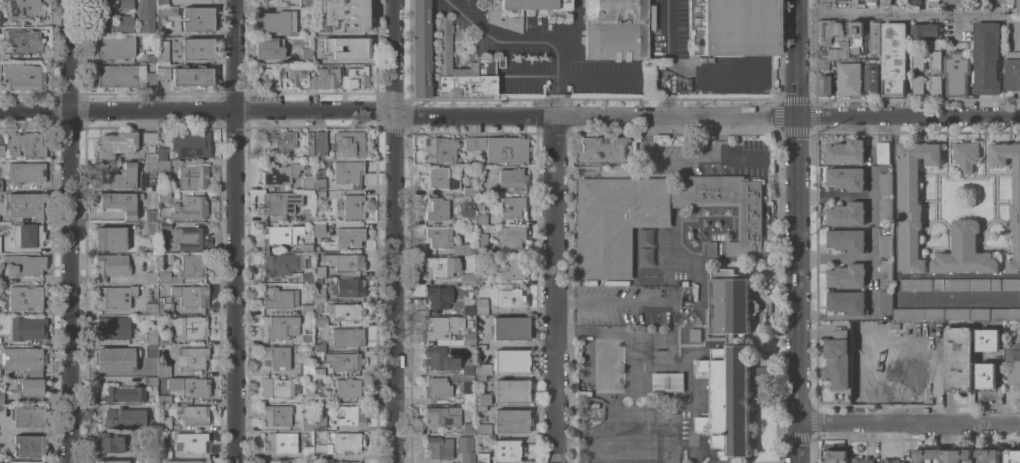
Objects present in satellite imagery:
building: (260, 0)
road: (439, 0)
building: (825, 0)
building: (843, 0)
building: (162, 1)
building: (904, 1)
building: (916, 1)
building: (957, 1)
building: (998, 1)
building: (185, 2)
building: (305, 2)
building: (871, 2)
building: (885, 2)
building: (933, 3)
building: (1008, 3)
building: (114, 4)
building: (535, 4)
building: (1018, 5)
building: (25, 8)
building: (167, 10)
road: (459, 10)
road: (897, 13)
building: (146, 15)
building: (343, 15)
building: (504, 16)
building: (197, 18)
building: (276, 21)
building: (113, 23)
building: (694, 25)
building: (736, 27)
building: (840, 28)
building: (614, 29)
building: (923, 30)
building: (826, 31)
building: (874, 34)
parking lot: (530, 37)
building: (856, 39)
building: (23, 40)
building: (935, 43)
building: (115, 46)
building: (269, 47)
building: (347, 47)
building: (420, 47)
building: (197, 48)
building: (840, 50)
building: (162, 51)
building: (306, 54)
road: (392, 56)
building: (151, 57)
road: (522, 57)
building: (987, 57)
building: (893, 59)
building: (935, 59)
building: (918, 60)
building: (824, 64)
building: (0, 66)
building: (460, 68)
building: (1012, 70)
building: (163, 73)
building: (956, 73)
building: (124, 75)
building: (192, 75)
building: (23, 76)
building: (299, 77)
building: (356, 77)
building: (872, 77)
building: (269, 78)
building: (326, 78)
building: (849, 78)
building: (918, 84)
building: (935, 84)
building: (826, 85)
building: (546, 89)
road: (509, 115)
building: (149, 137)
building: (638, 138)
building: (278, 142)
building: (116, 143)
building: (320, 143)
building: (348, 143)
building: (474, 143)
building: (25, 144)
building: (191, 145)
building: (309, 145)
building: (440, 148)
building: (506, 149)
building: (603, 149)
building: (1, 151)
building: (847, 151)
building: (162, 152)
building: (883, 152)
building: (966, 155)
building: (151, 156)
road: (678, 156)
building: (745, 163)
building: (151, 165)
building: (163, 166)
building: (26, 172)
building: (280, 173)
building: (348, 173)
building: (192, 175)
building: (121, 177)
building: (443, 177)
building: (512, 178)
building: (847, 178)
building: (885, 179)
building: (307, 182)
building: (319, 183)
building: (0, 185)
building: (468, 190)
building: (479, 190)
building: (2, 192)
building: (319, 193)
building: (164, 196)
building: (765, 198)
building: (912, 201)
building: (120, 202)
building: (281, 202)
building: (25, 204)
building: (350, 206)
building: (514, 207)
building: (1015, 207)
building: (189, 208)
building: (436, 208)
building: (885, 208)
building: (151, 212)
building: (847, 213)
building: (306, 214)
building: (657, 215)
building: (465, 217)
building: (481, 218)
building: (164, 225)
building: (150, 228)
building: (319, 228)
road: (67, 231)
road: (233, 231)
road: (795, 231)
building: (27, 235)
building: (280, 235)
building: (438, 236)
building: (513, 236)
building: (346, 237)
building: (110, 238)
building: (187, 239)
building: (847, 240)
building: (481, 243)
building: (885, 245)
building: (463, 248)
building: (712, 248)
building: (964, 251)
building: (318, 254)
building: (349, 262)
building: (23, 263)
building: (282, 264)
building: (110, 265)
building: (441, 266)
building: (186, 268)
building: (514, 268)
road: (895, 269)
building: (319, 270)
building: (885, 270)
building: (481, 272)
building: (847, 275)
building: (150, 276)
building: (307, 277)
building: (467, 278)
building: (915, 284)
building: (967, 284)
building: (1011, 284)
building: (349, 287)
road: (393, 288)
road: (554, 289)
building: (319, 294)
building: (191, 295)
building: (114, 296)
building: (25, 297)
building: (280, 297)
building: (437, 297)
building: (512, 298)
building: (847, 301)
building: (886, 301)
road: (610, 302)
building: (164, 306)
building: (481, 306)
building: (151, 308)
building: (307, 308)
building: (469, 310)
building: (345, 311)
building: (955, 314)
building: (320, 321)
building: (279, 326)
building: (444, 326)
building: (113, 327)
building: (195, 327)
building: (510, 327)
building: (27, 328)
building: (895, 330)
building: (920, 332)
building: (987, 332)
building: (871, 333)
building: (695, 334)
building: (151, 335)
building: (347, 336)
building: (468, 337)
building: (164, 338)
building: (306, 338)
building: (1012, 346)
building: (319, 347)
building: (480, 347)
building: (150, 349)
building: (981, 352)
building: (192, 357)
building: (276, 357)
building: (22, 358)
building: (115, 358)
building: (439, 358)
building: (958, 358)
building: (344, 360)
building: (511, 360)
building: (836, 360)
building: (604, 364)
building: (729, 366)
building: (468, 367)
building: (1013, 367)
building: (150, 368)
building: (163, 369)
building: (307, 369)
building: (482, 369)
building: (318, 370)
building: (763, 370)
building: (862, 371)
building: (924, 372)
building: (0, 373)
building: (986, 374)
building: (894, 375)
building: (466, 377)
building: (472, 377)
building: (480, 378)
building: (151, 381)
building: (667, 381)
building: (189, 386)
building: (277, 386)
building: (438, 386)
building: (31, 387)
building: (348, 387)
building: (1, 389)
building: (506, 391)
building: (467, 392)
building: (121, 394)
building: (307, 396)
building: (164, 398)
building: (319, 398)
building: (480, 407)
building: (195, 414)
building: (276, 414)
building: (351, 415)
building: (28, 416)
building: (443, 416)
building: (125, 418)
building: (511, 420)
road: (907, 422)
building: (319, 423)
building: (150, 424)
building: (165, 424)
building: (308, 424)
building: (469, 428)
building: (483, 428)
building: (191, 441)
building: (347, 441)
building: (280, 442)
building: (109, 444)
building: (28, 445)
building: (439, 447)
building: (466, 449)
building: (165, 450)
building: (322, 450)
building: (506, 450)
building: (307, 451)
building: (139, 452)
building: (956, 455)
building: (835, 456)
building: (482, 457)
building: (1013, 459)
building: (863, 460)
building: (111, 461)
building: (185, 461)
building: (277, 461)
building: (892, 461)
building: (23, 462)
building: (345, 462)

